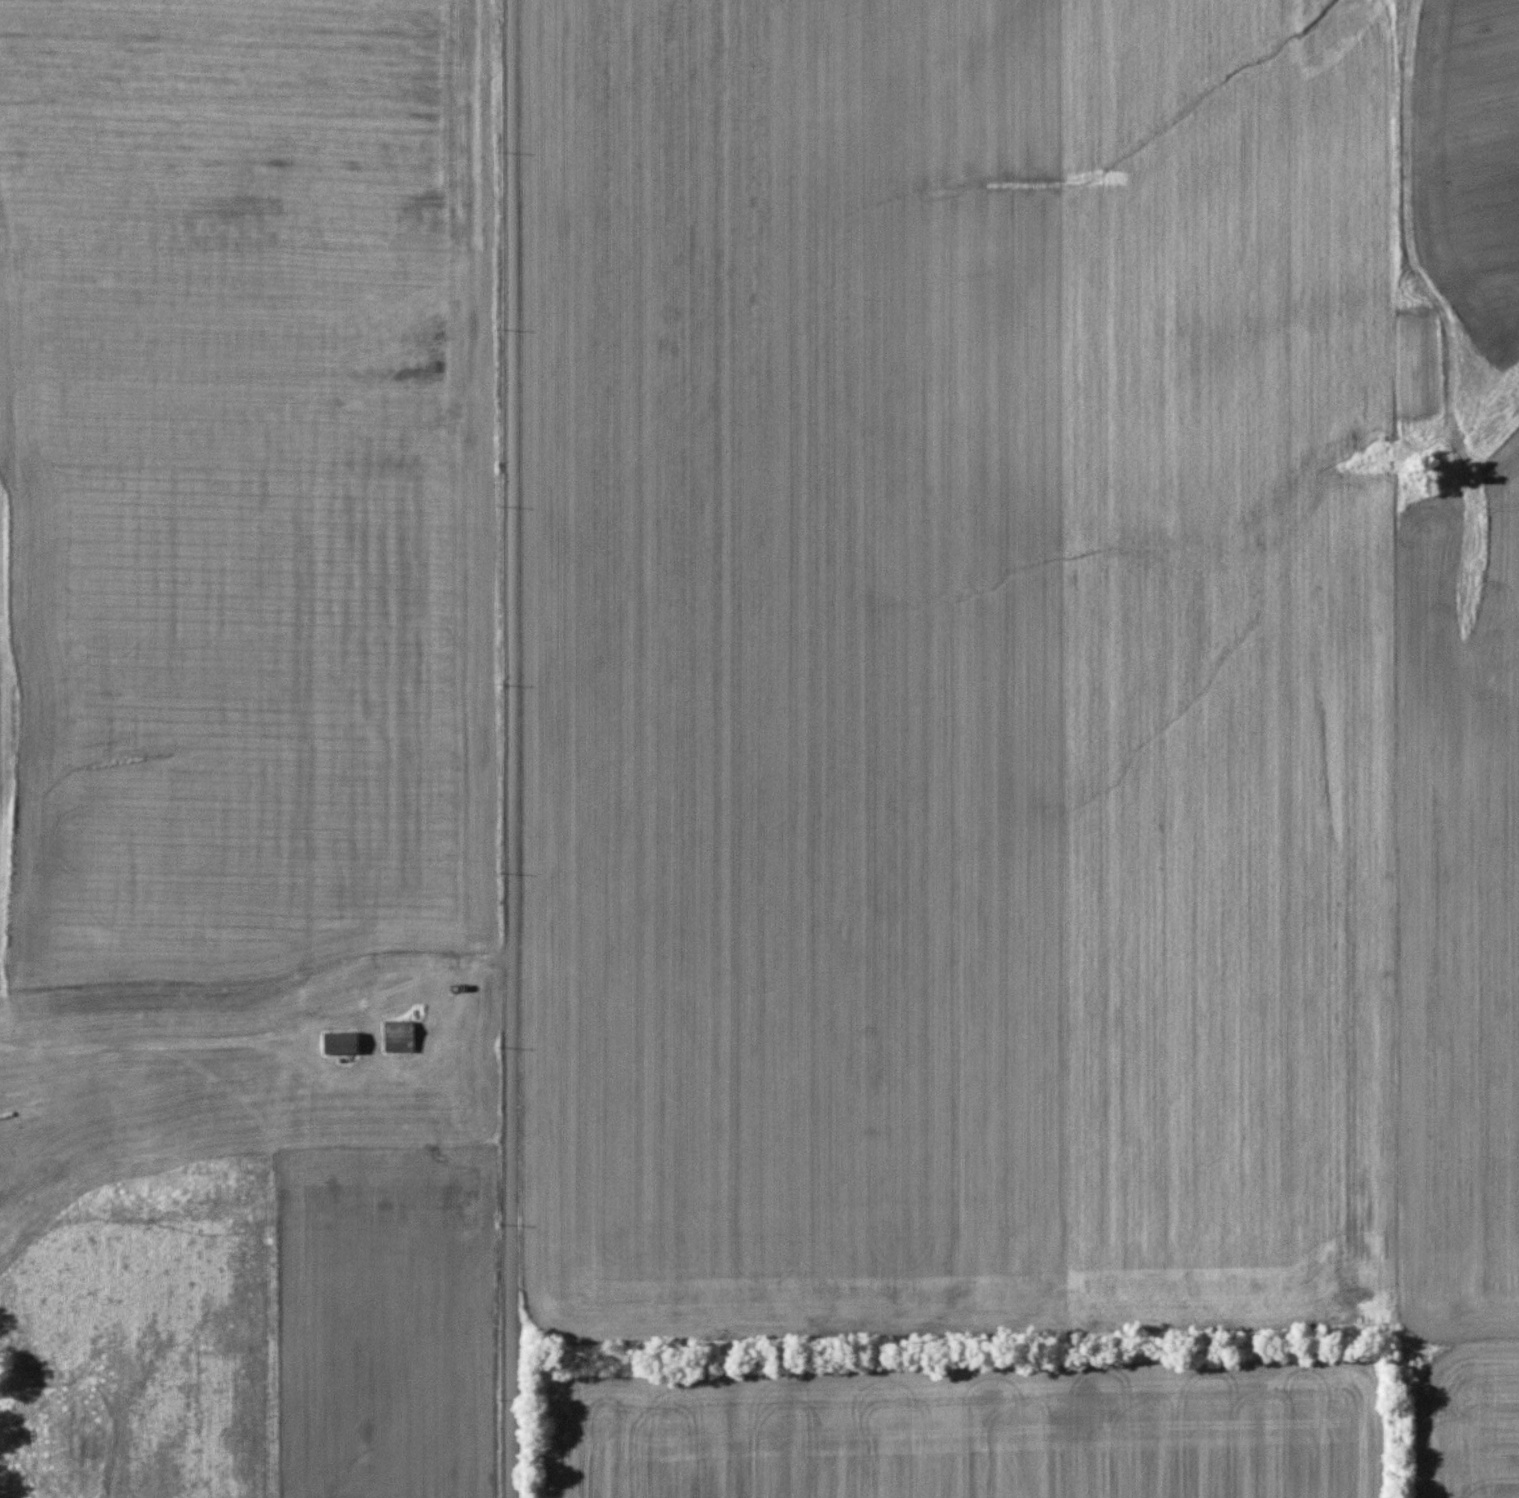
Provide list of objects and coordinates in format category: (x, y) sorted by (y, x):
road: (512, 749)
building: (396, 1036)
building: (338, 1042)

